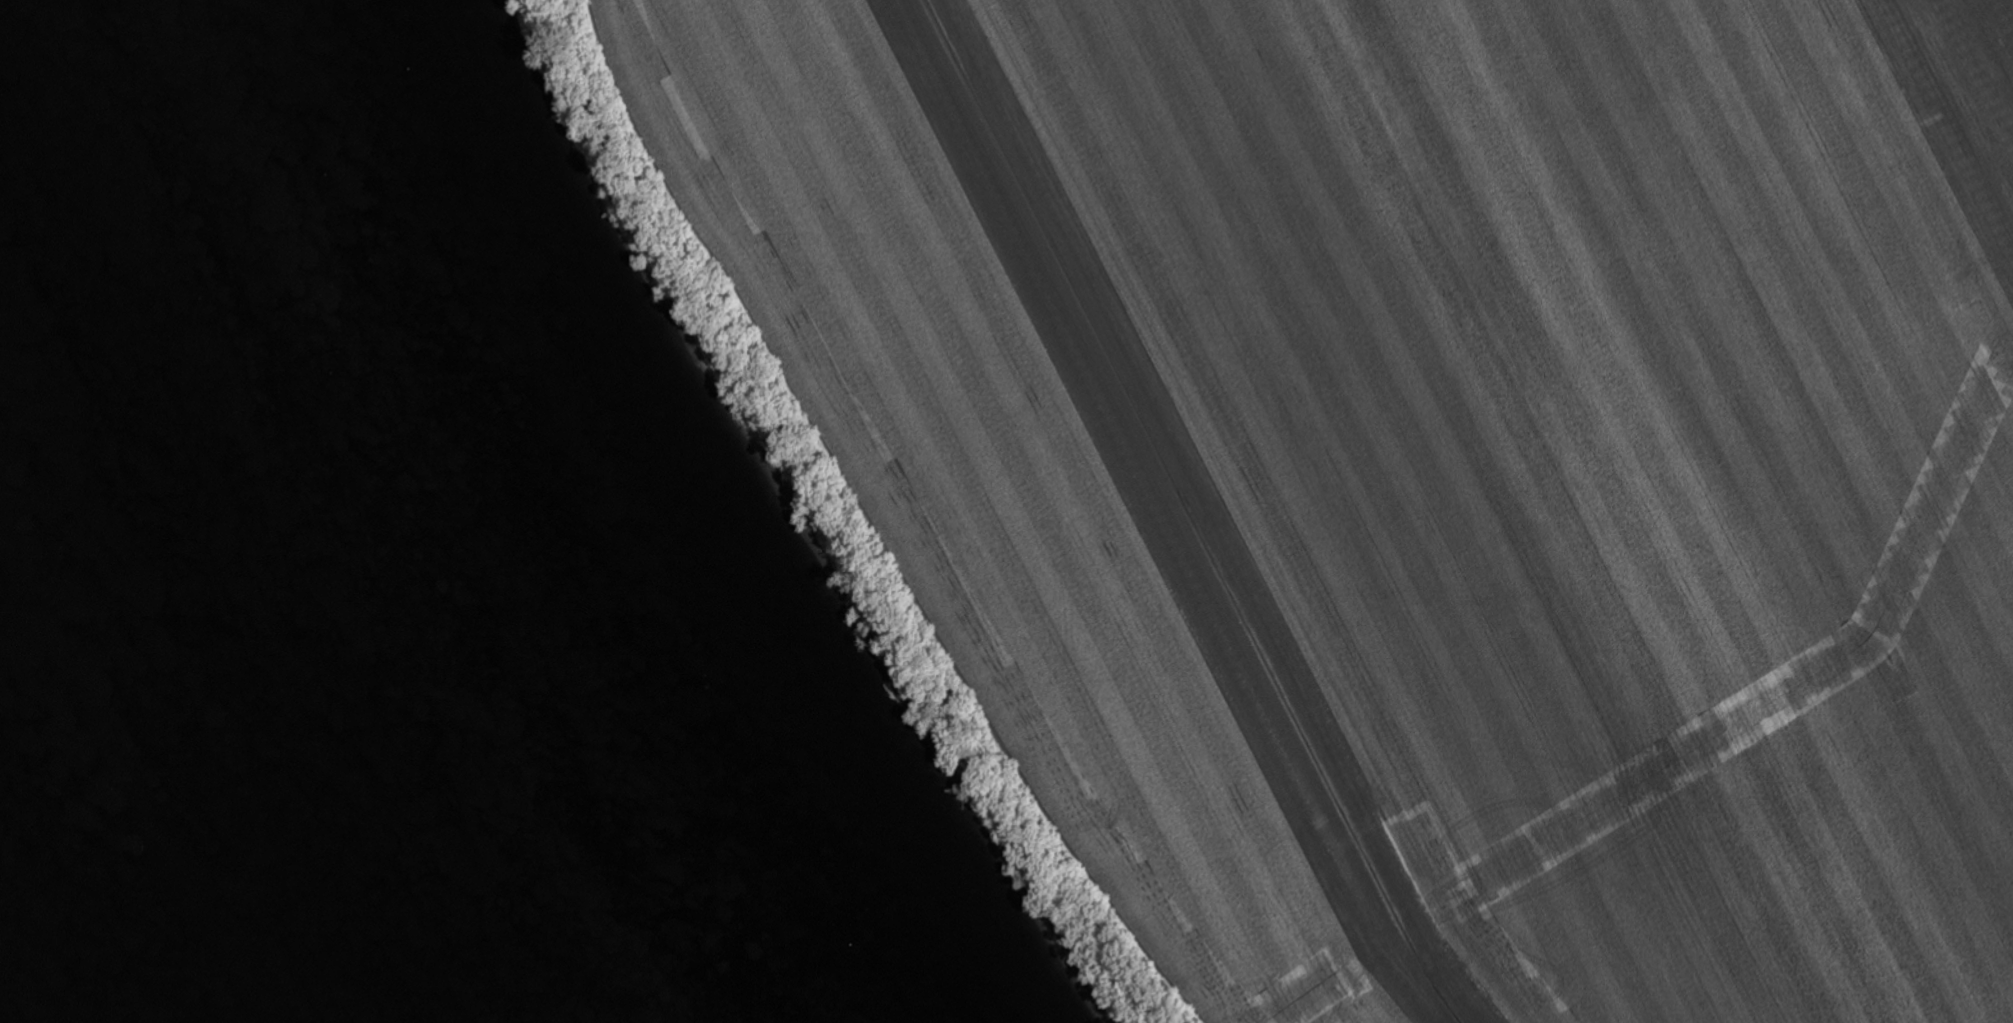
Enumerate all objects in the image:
river: (102, 851)

